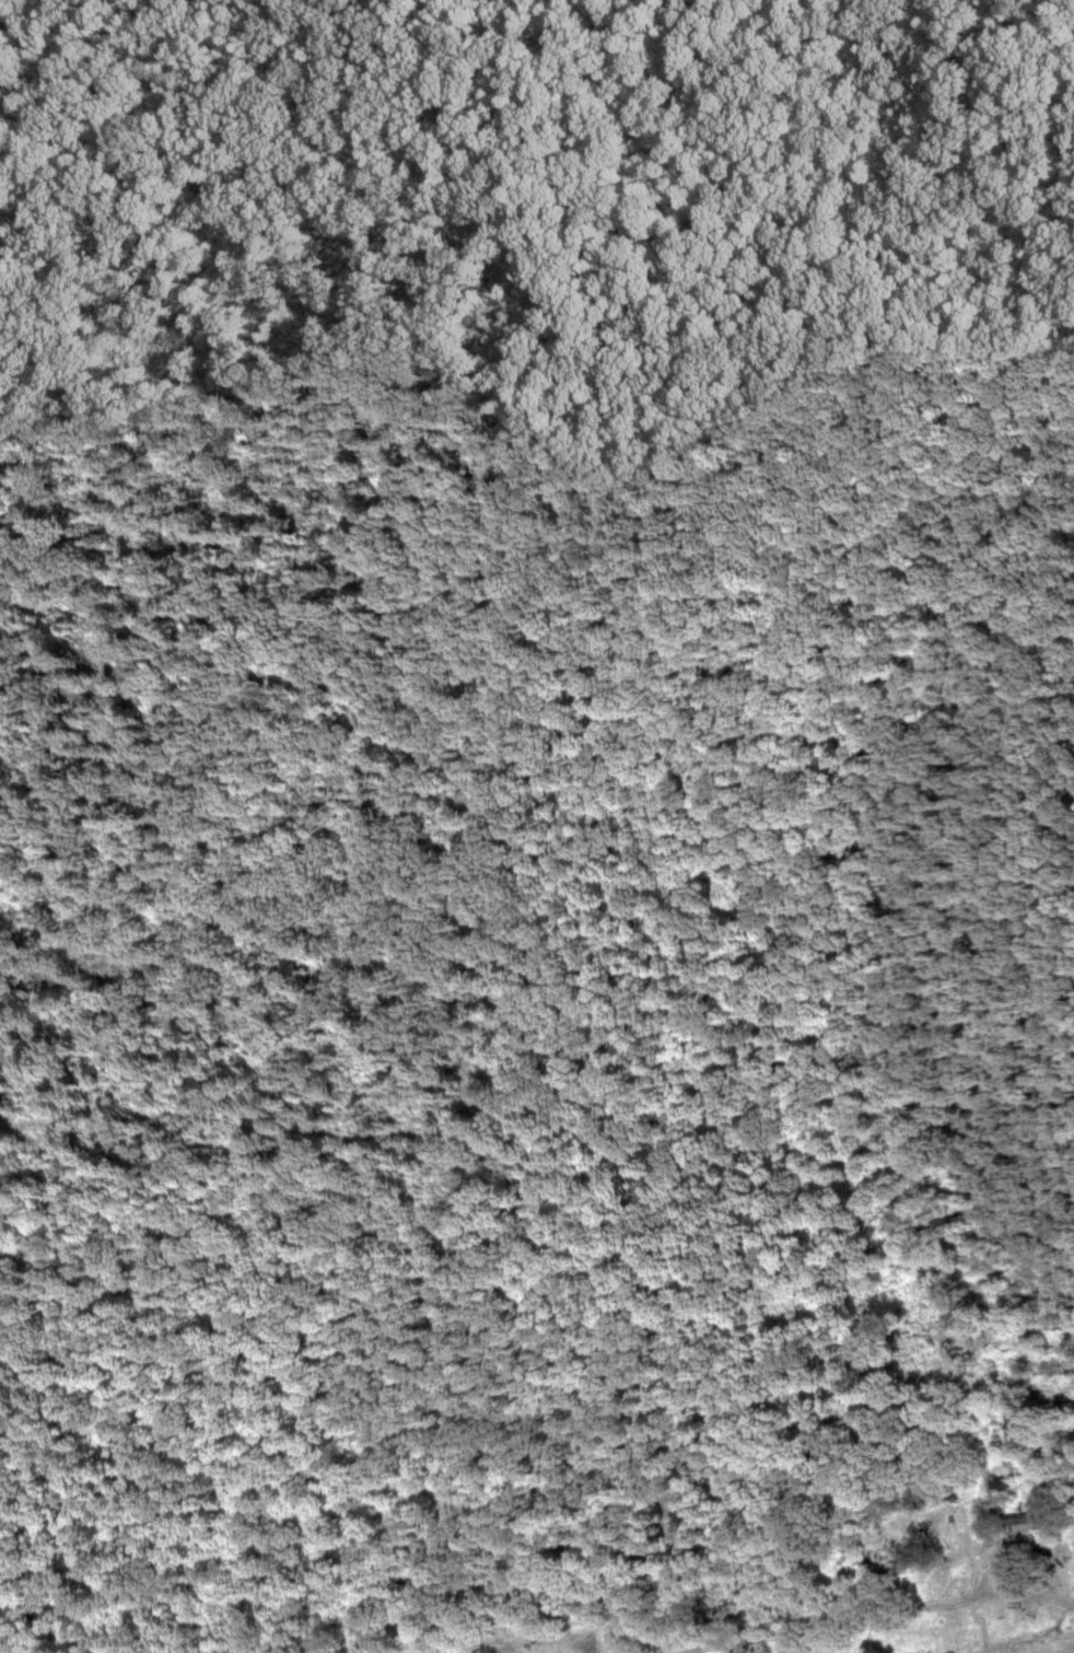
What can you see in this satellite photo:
road: (878, 1621)

